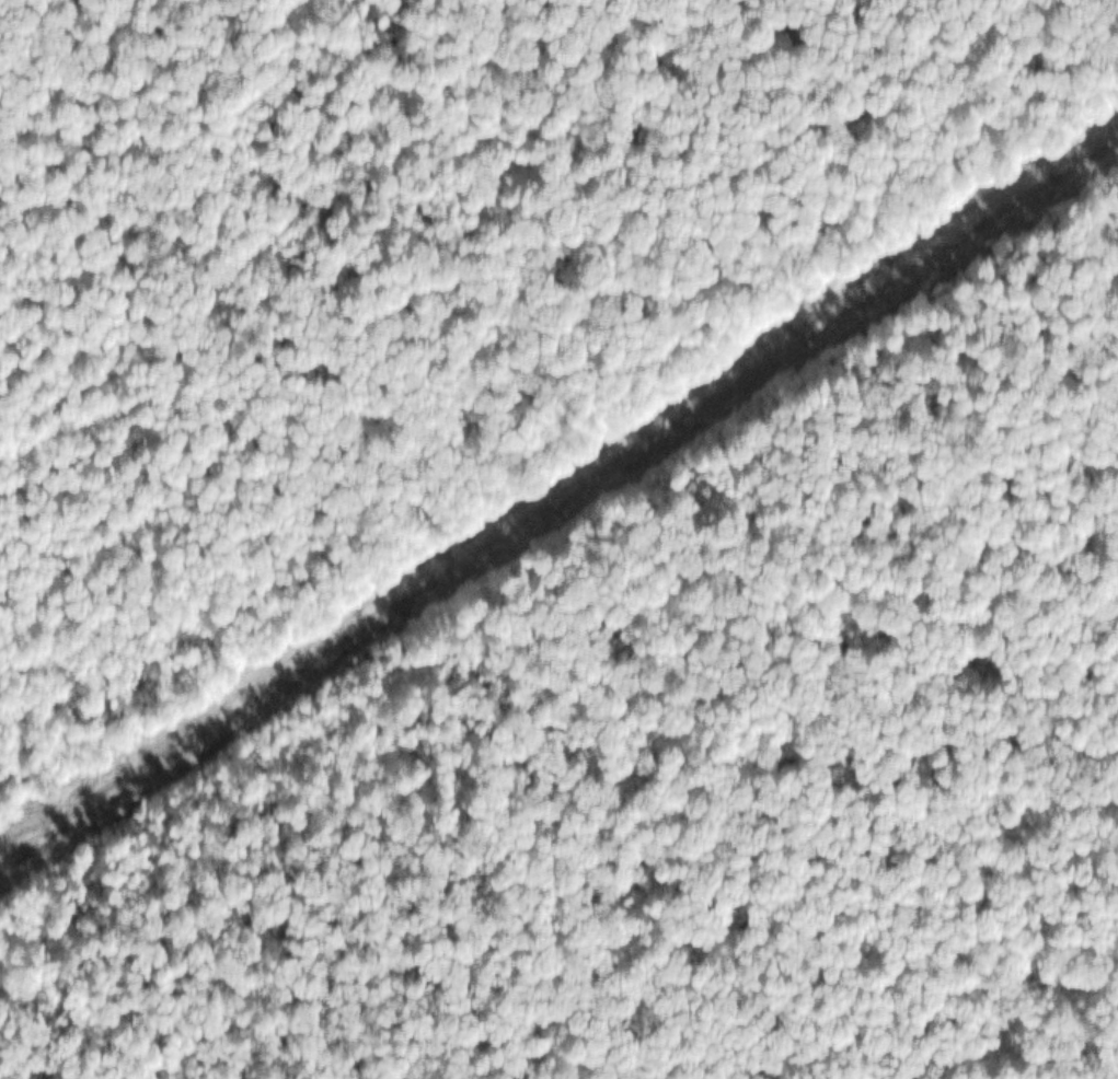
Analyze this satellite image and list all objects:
road: (4, 1)

